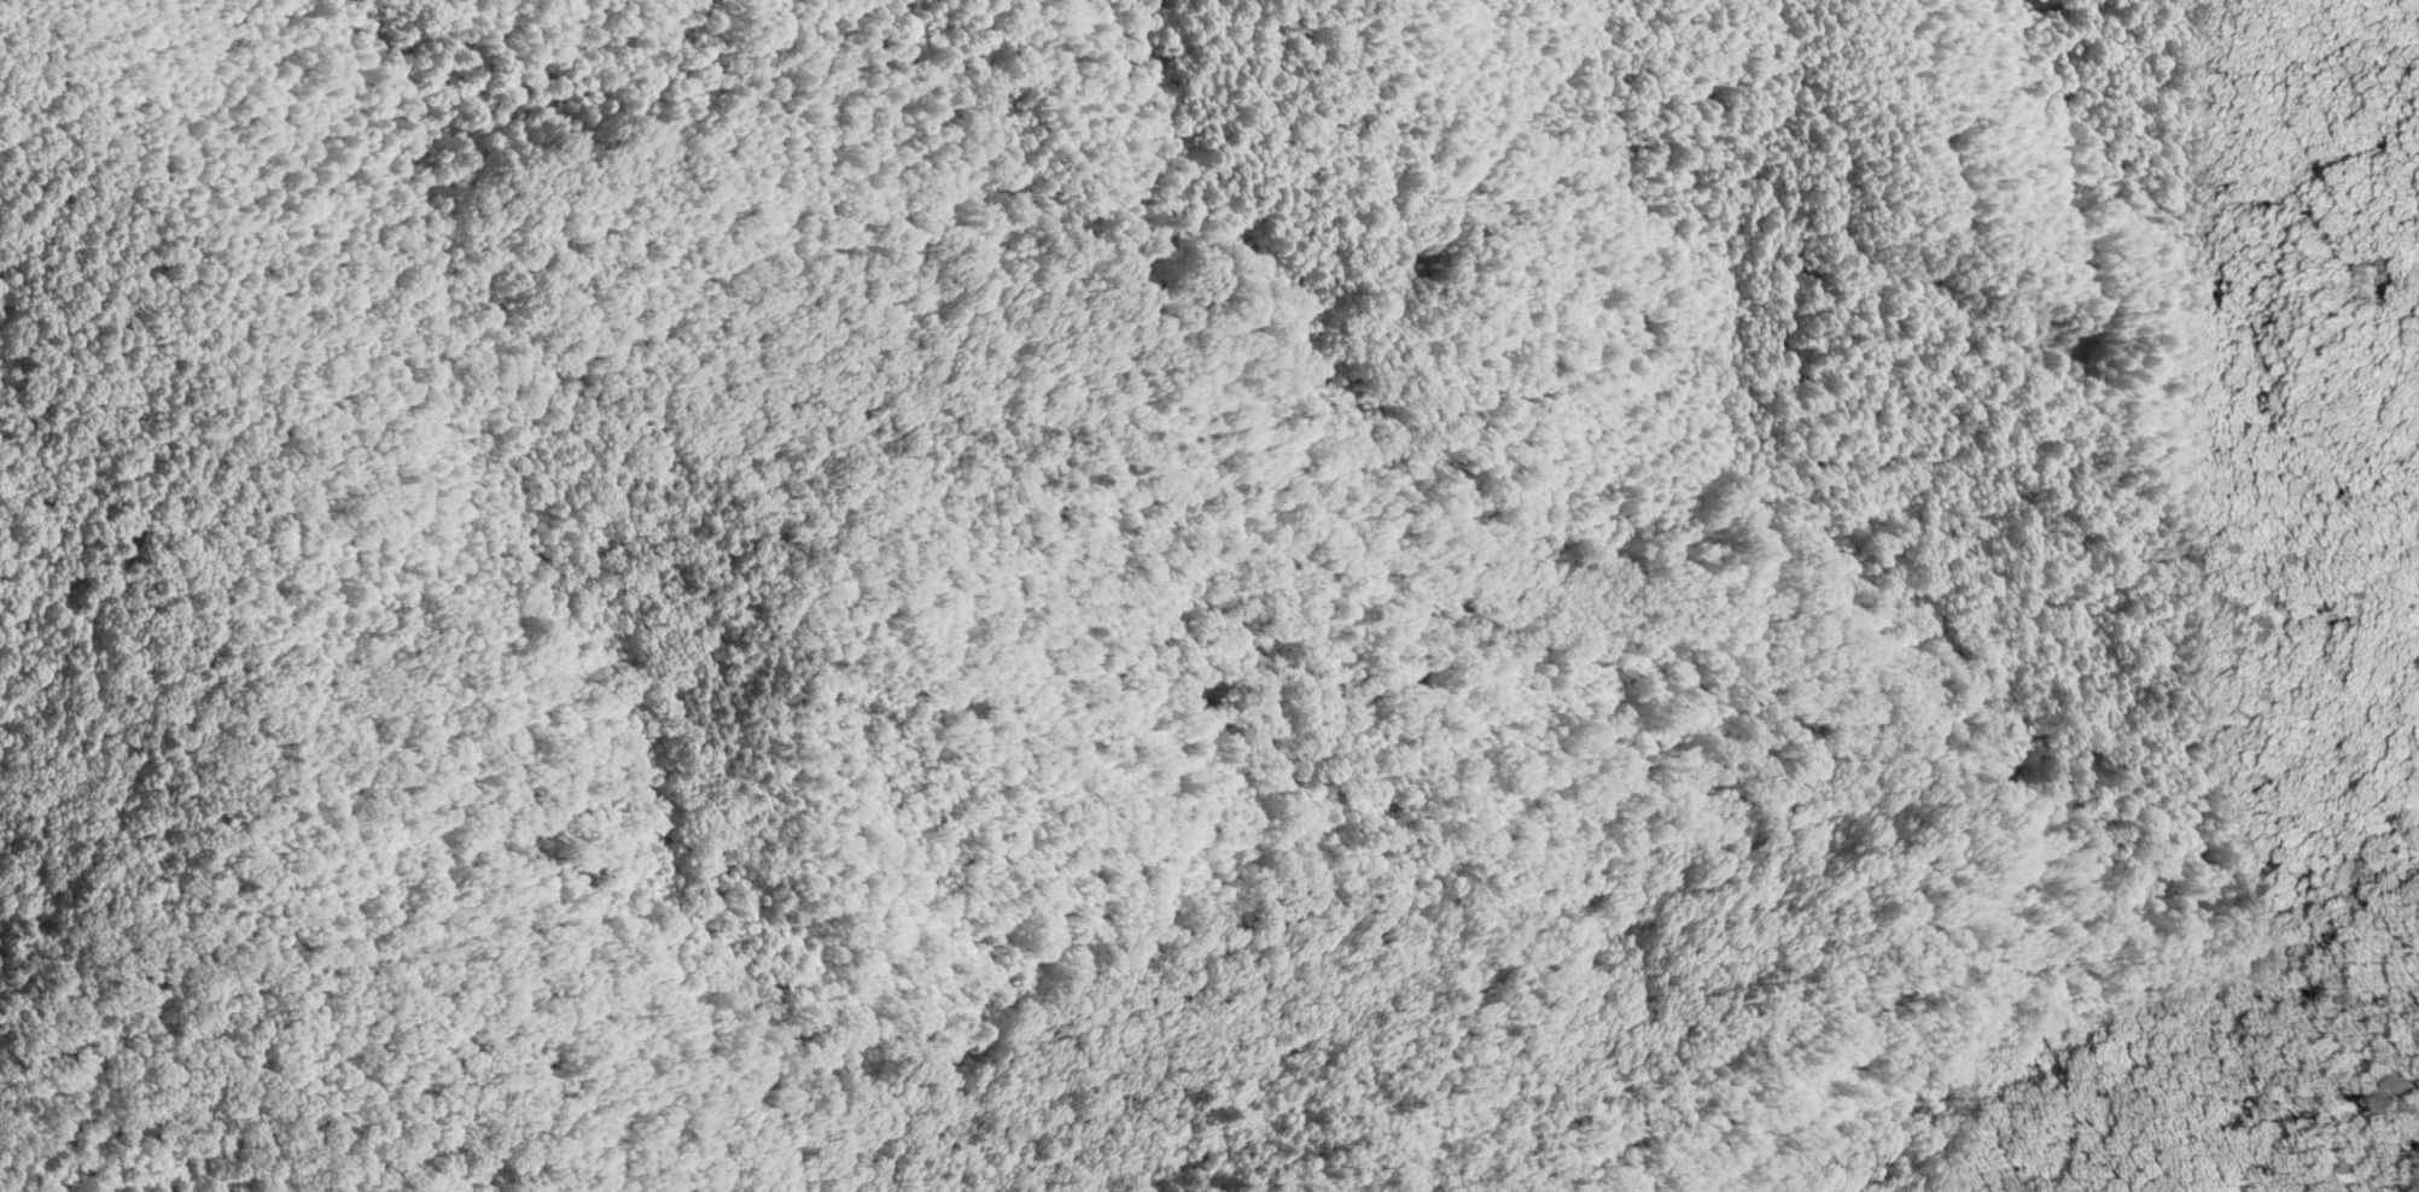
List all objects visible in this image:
park: (1315, 584)

